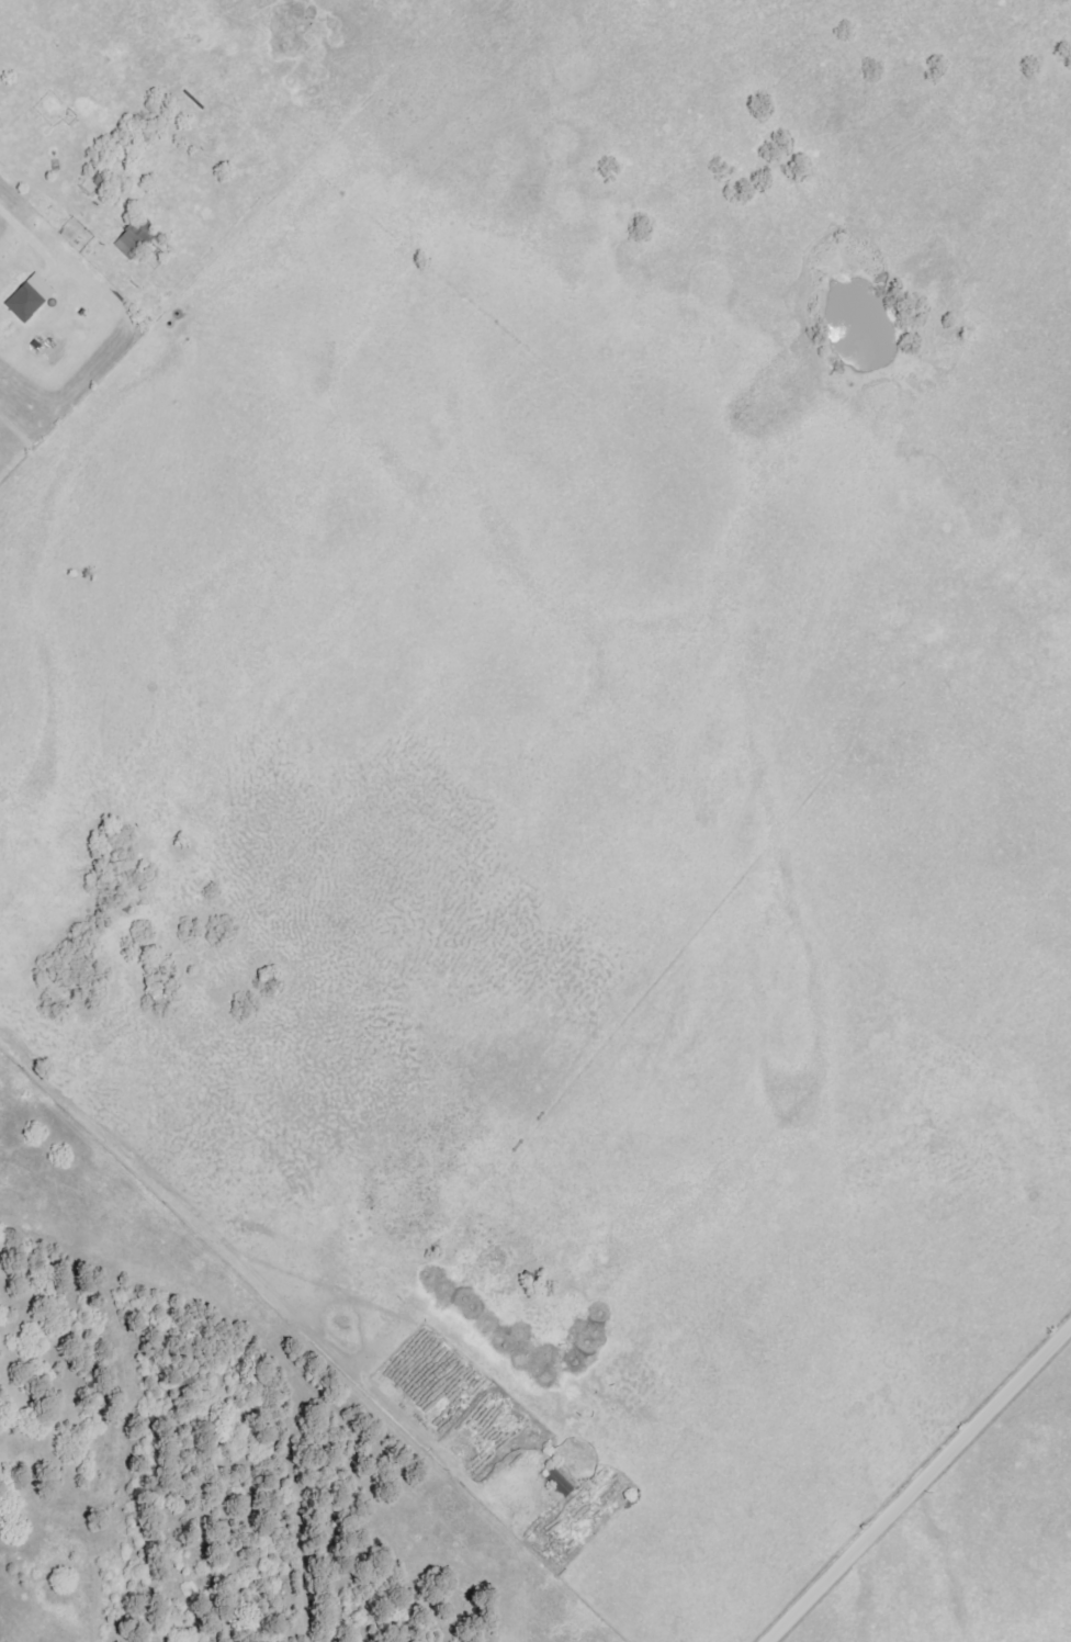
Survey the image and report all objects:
road: (27, 236)
building: (133, 245)
building: (30, 303)
road: (219, 1268)
road: (918, 1484)

